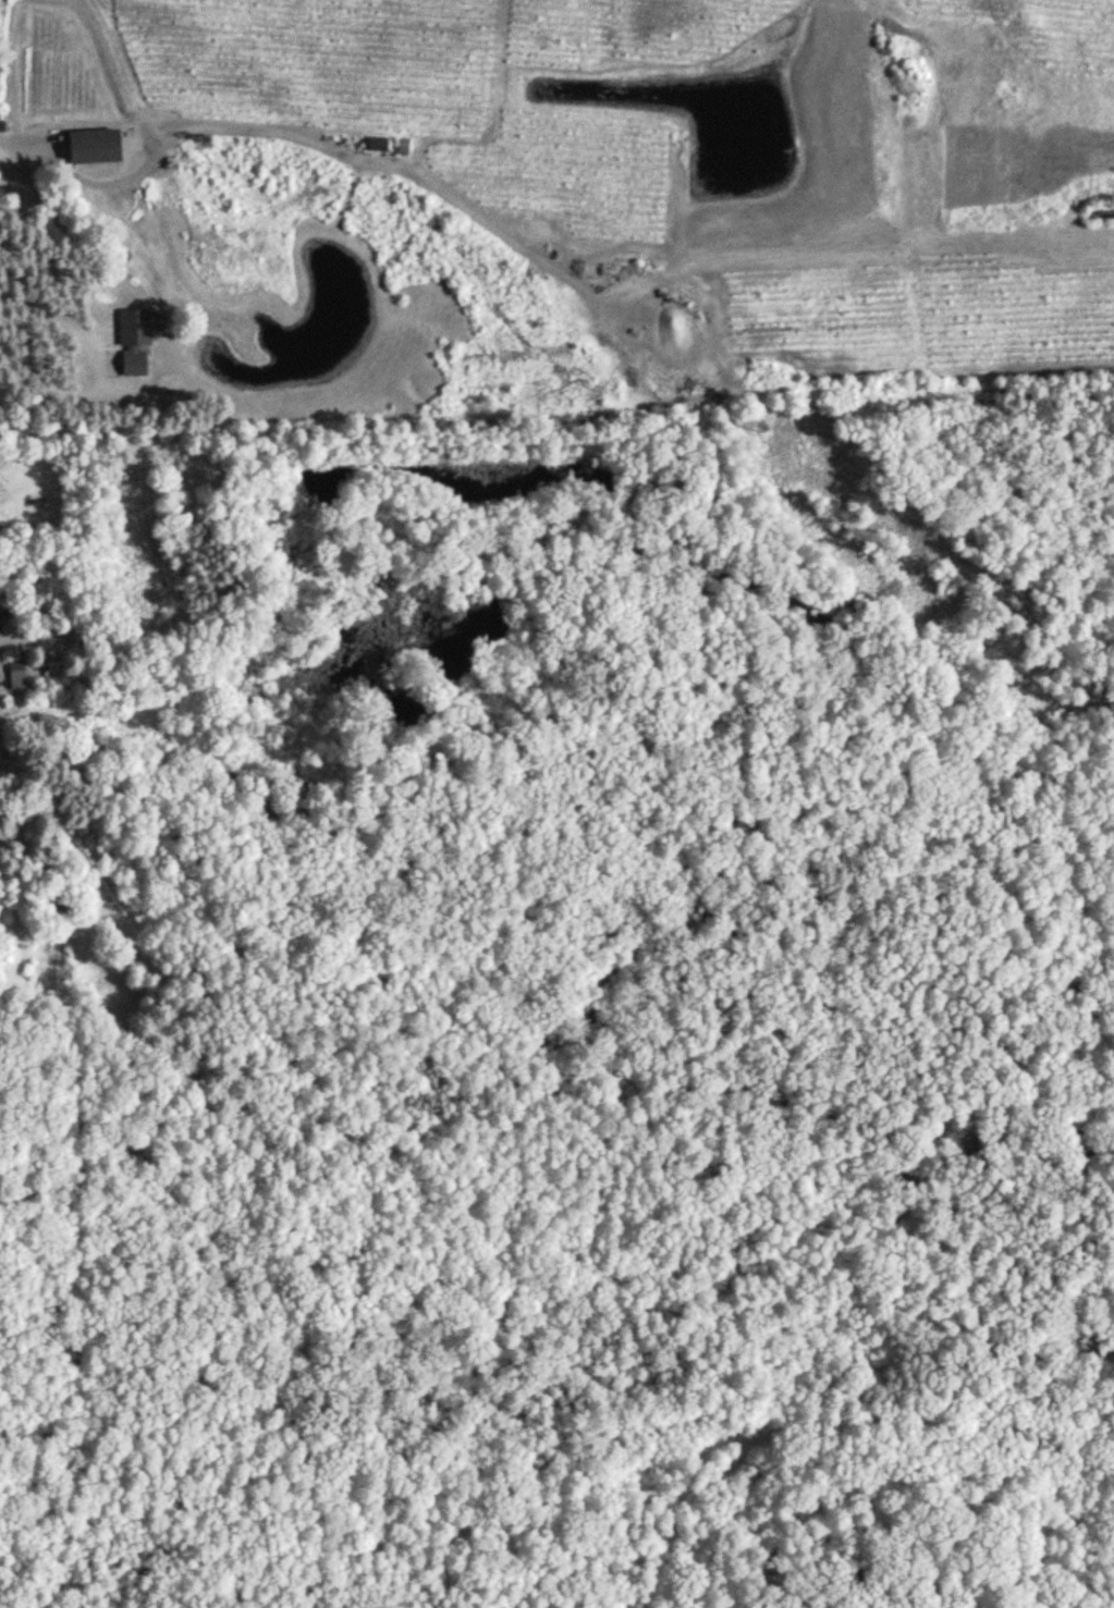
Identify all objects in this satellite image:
building: (376, 144)
road: (15, 145)
building: (90, 146)
building: (402, 147)
building: (136, 343)
building: (4, 604)
building: (16, 675)

